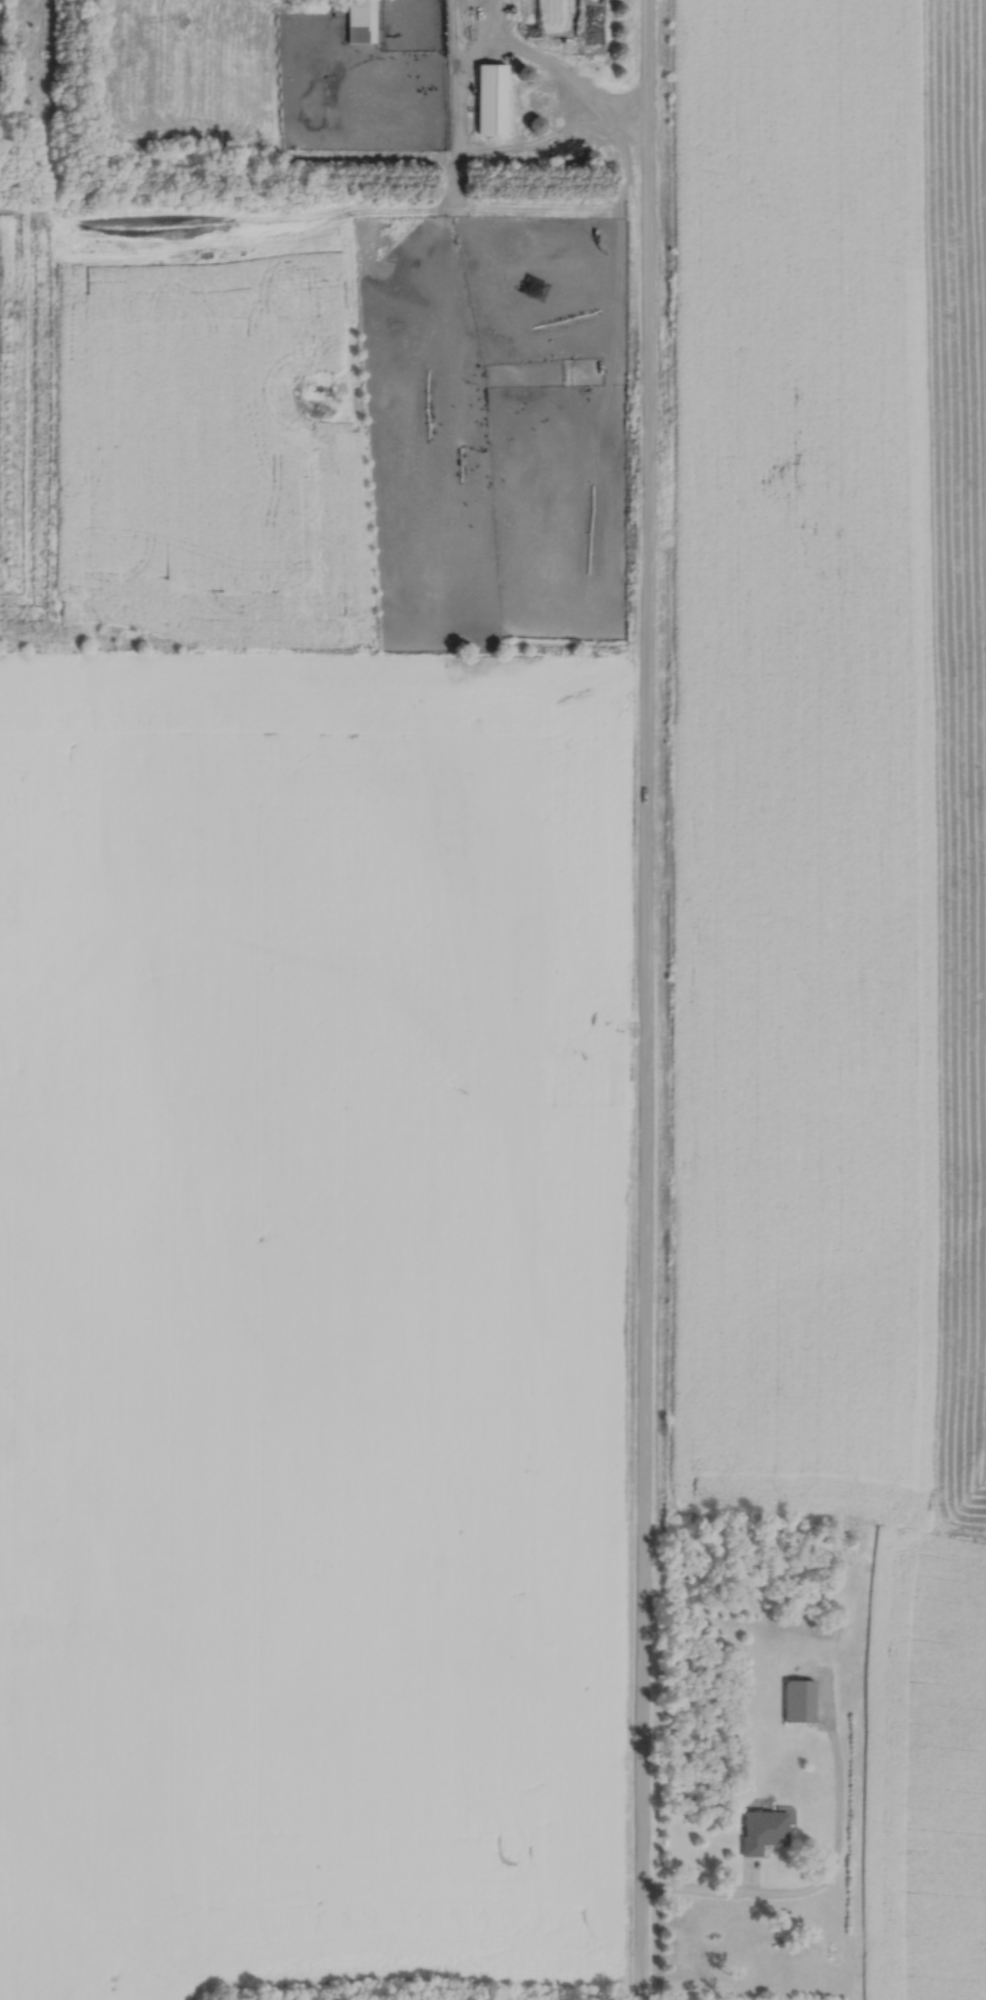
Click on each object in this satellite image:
building: (553, 16)
building: (358, 19)
building: (518, 69)
road: (551, 74)
building: (489, 95)
building: (531, 121)
building: (586, 151)
road: (643, 1000)
building: (797, 1697)
building: (759, 1826)
road: (699, 1894)

